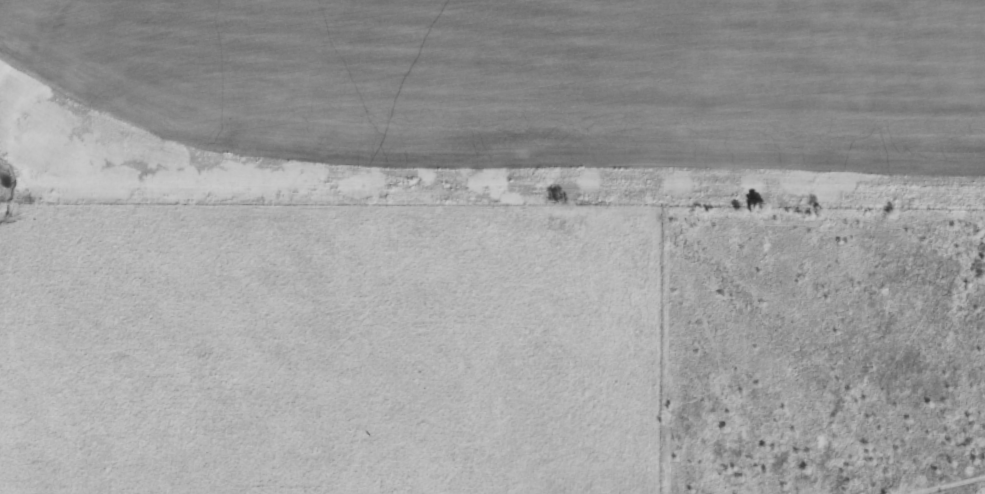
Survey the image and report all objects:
crop: (548, 92)

